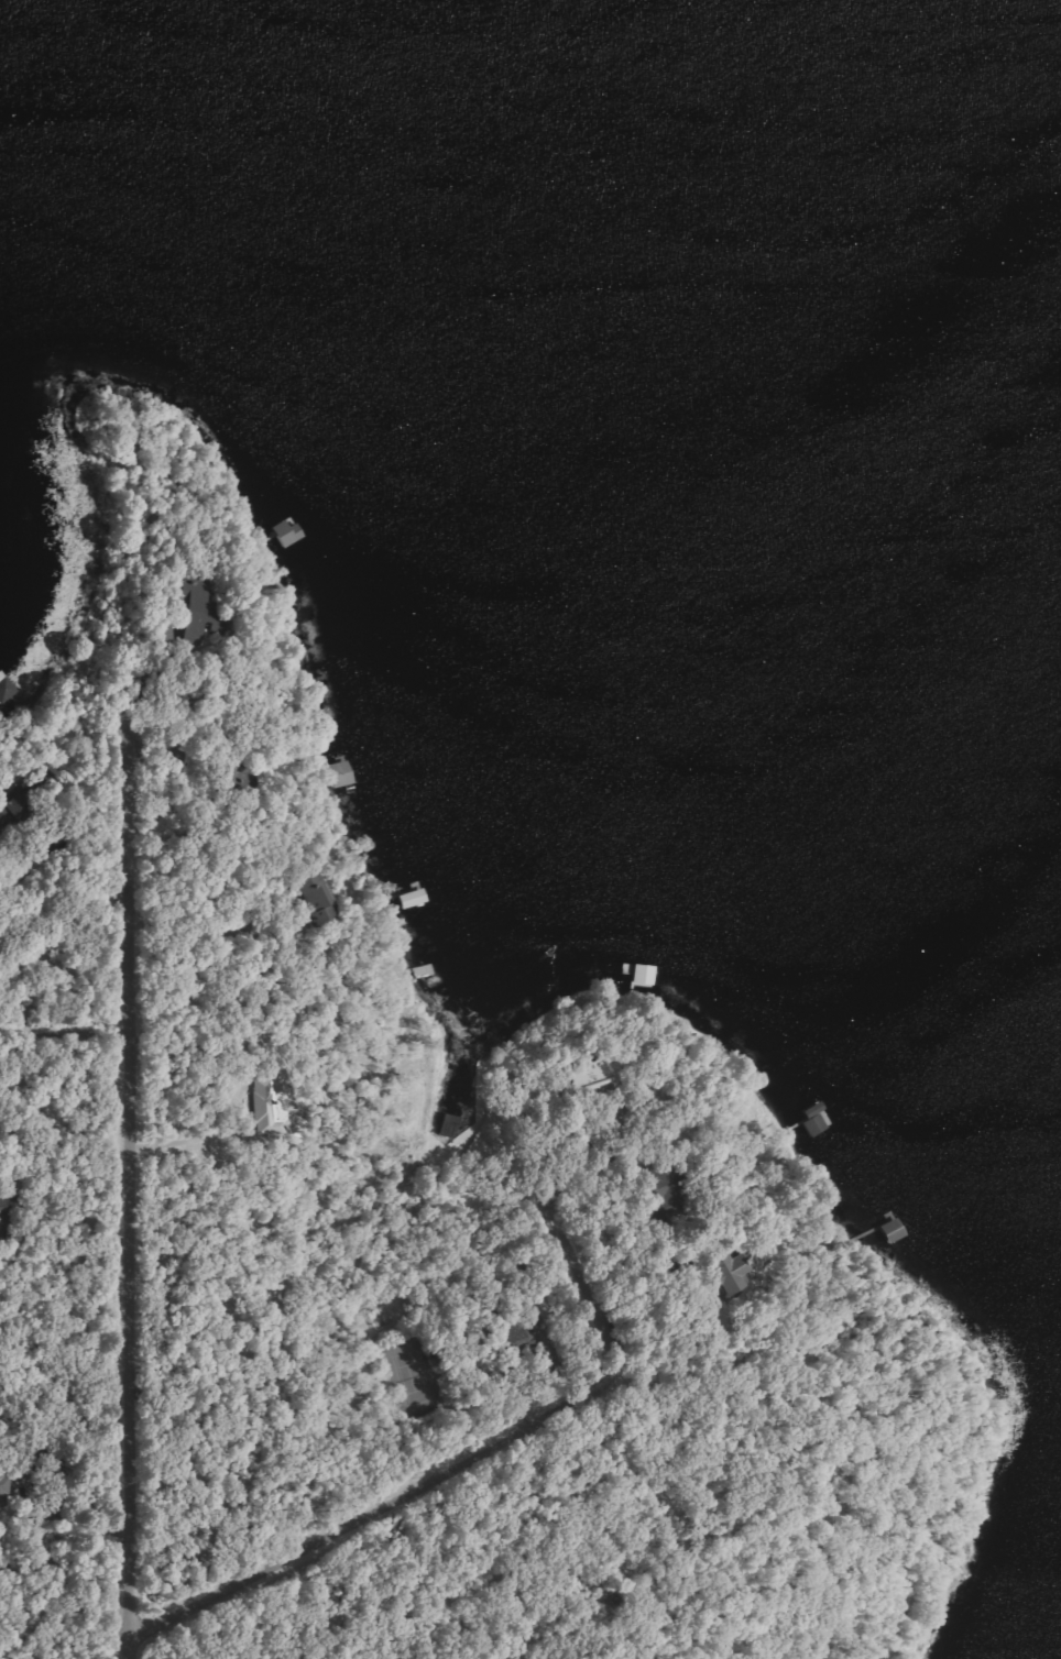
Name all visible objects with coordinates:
building: (197, 605)
building: (320, 897)
building: (594, 1074)
building: (667, 1184)
road: (131, 1195)
building: (7, 1220)
building: (732, 1271)
road: (480, 1447)
building: (4, 1490)

